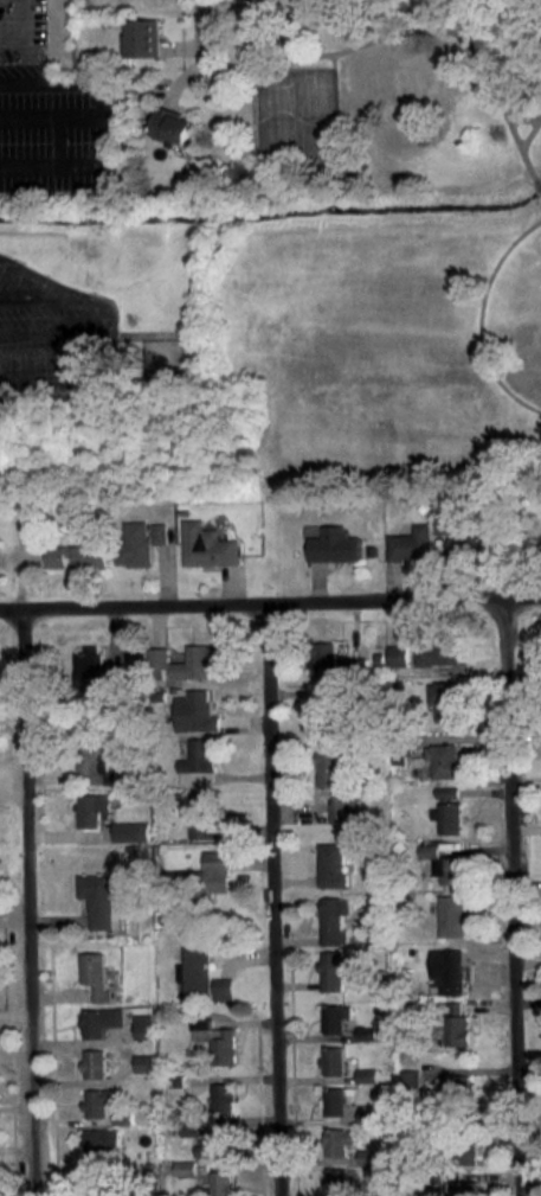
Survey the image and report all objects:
road: (200, 32)
building: (141, 38)
road: (366, 43)
road: (502, 110)
park: (294, 113)
road: (521, 117)
building: (170, 124)
road: (529, 130)
park: (376, 248)
road: (479, 318)
parking lot: (53, 335)
building: (445, 523)
building: (159, 532)
building: (135, 543)
building: (207, 543)
building: (410, 543)
building: (333, 544)
building: (540, 544)
building: (463, 546)
building: (77, 555)
road: (270, 601)
building: (397, 654)
building: (438, 654)
building: (322, 659)
building: (134, 660)
building: (182, 661)
building: (89, 672)
building: (322, 699)
building: (444, 699)
building: (193, 711)
building: (443, 760)
building: (92, 763)
building: (197, 763)
building: (335, 782)
building: (446, 792)
building: (90, 808)
building: (200, 813)
building: (447, 818)
building: (130, 831)
building: (429, 850)
building: (329, 862)
building: (447, 869)
building: (214, 870)
road: (513, 895)
building: (99, 897)
road: (272, 898)
road: (30, 901)
building: (451, 913)
building: (331, 915)
building: (198, 967)
building: (452, 968)
building: (95, 972)
building: (331, 973)
building: (224, 986)
building: (333, 1016)
building: (101, 1021)
building: (458, 1021)
building: (144, 1025)
building: (368, 1032)
building: (226, 1048)
building: (333, 1057)
building: (94, 1062)
building: (144, 1062)
building: (367, 1075)
building: (410, 1079)
building: (457, 1086)
building: (223, 1094)
building: (335, 1098)
building: (98, 1101)
building: (367, 1115)
building: (189, 1126)
building: (339, 1140)
building: (215, 1143)
building: (102, 1150)
building: (465, 1153)
building: (368, 1156)
building: (185, 1168)
building: (336, 1182)
building: (219, 1183)
building: (458, 1188)
building: (97, 1194)

